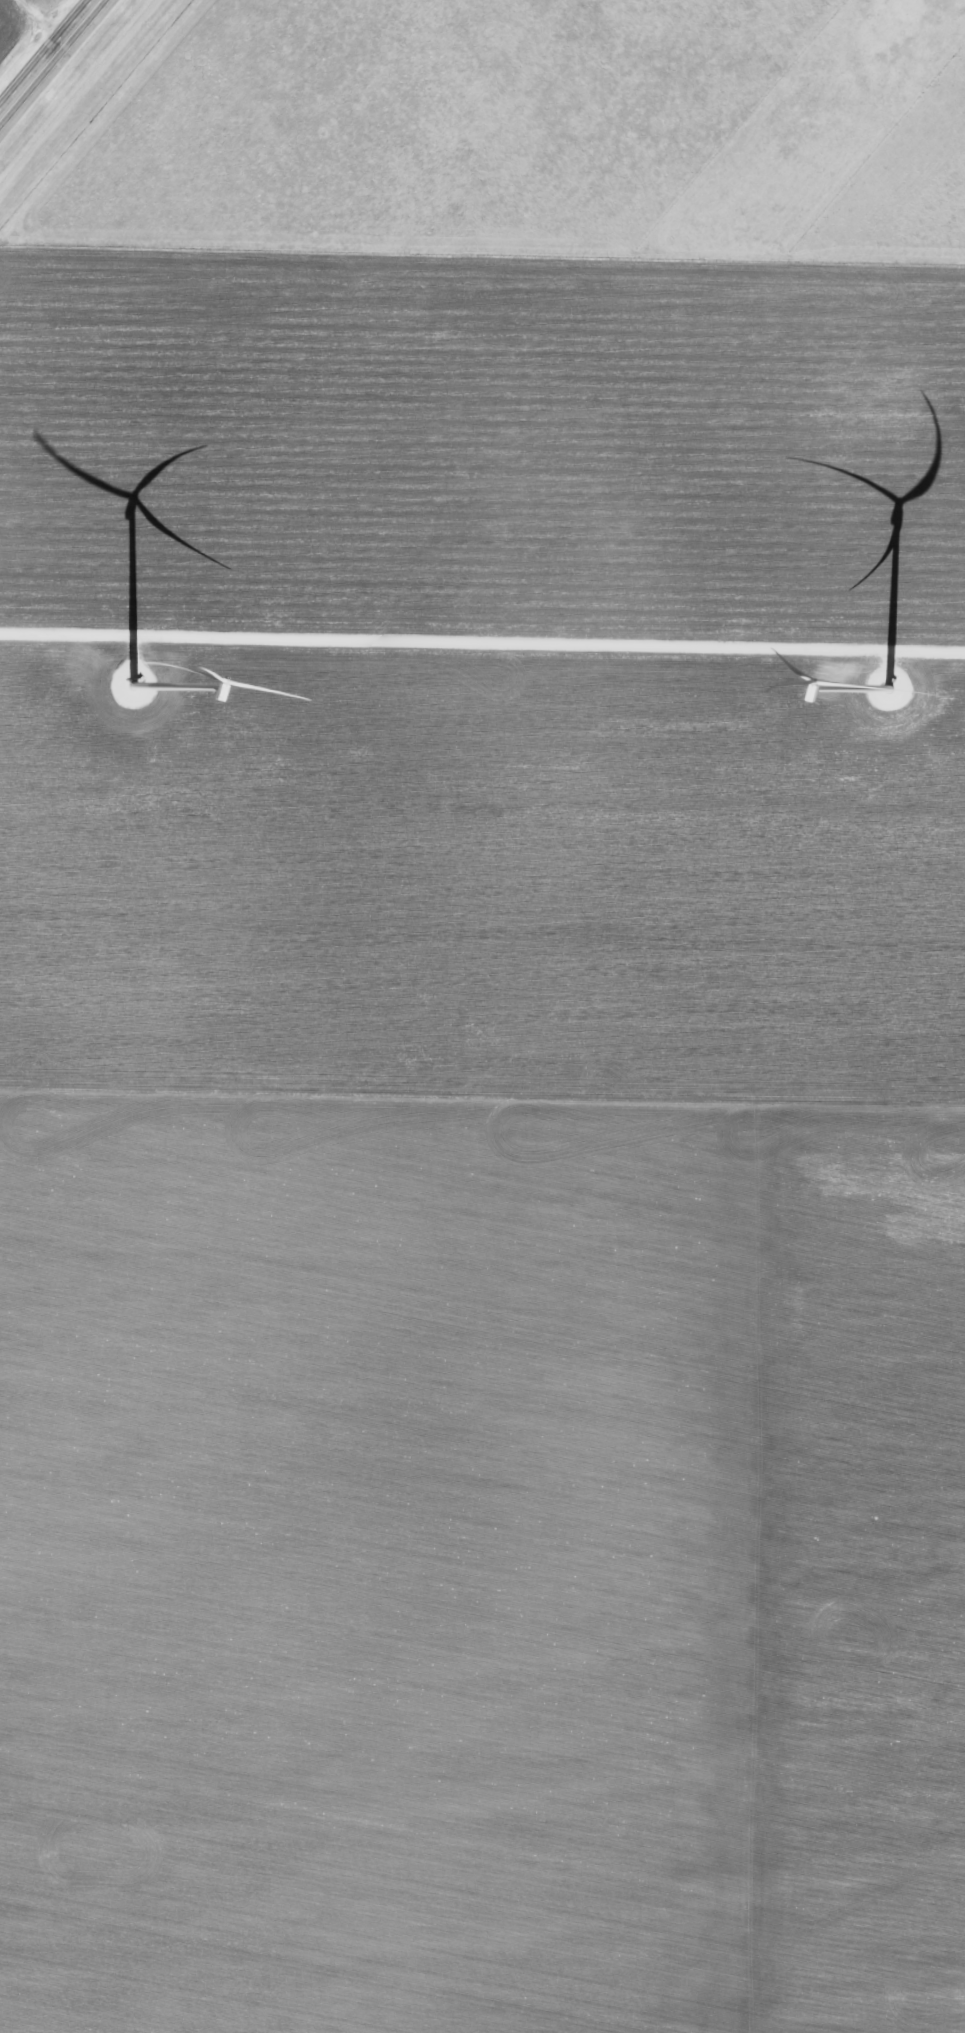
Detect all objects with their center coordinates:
road: (54, 64)
railway: (88, 105)
road: (482, 630)
wind turbine: (137, 691)
wind turbine: (892, 691)

